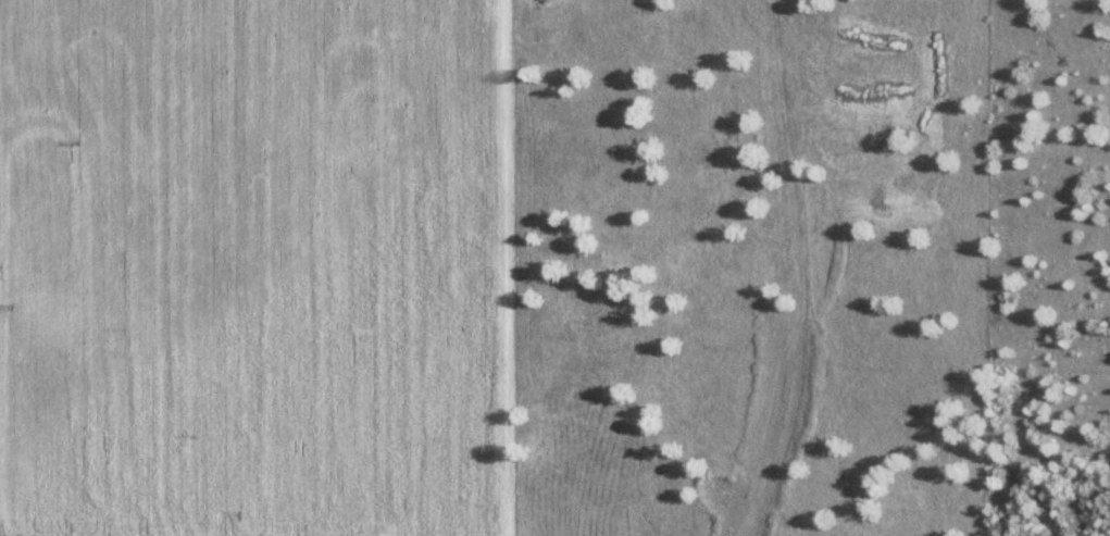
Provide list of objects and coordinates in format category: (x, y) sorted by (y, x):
crop: (233, 252)

